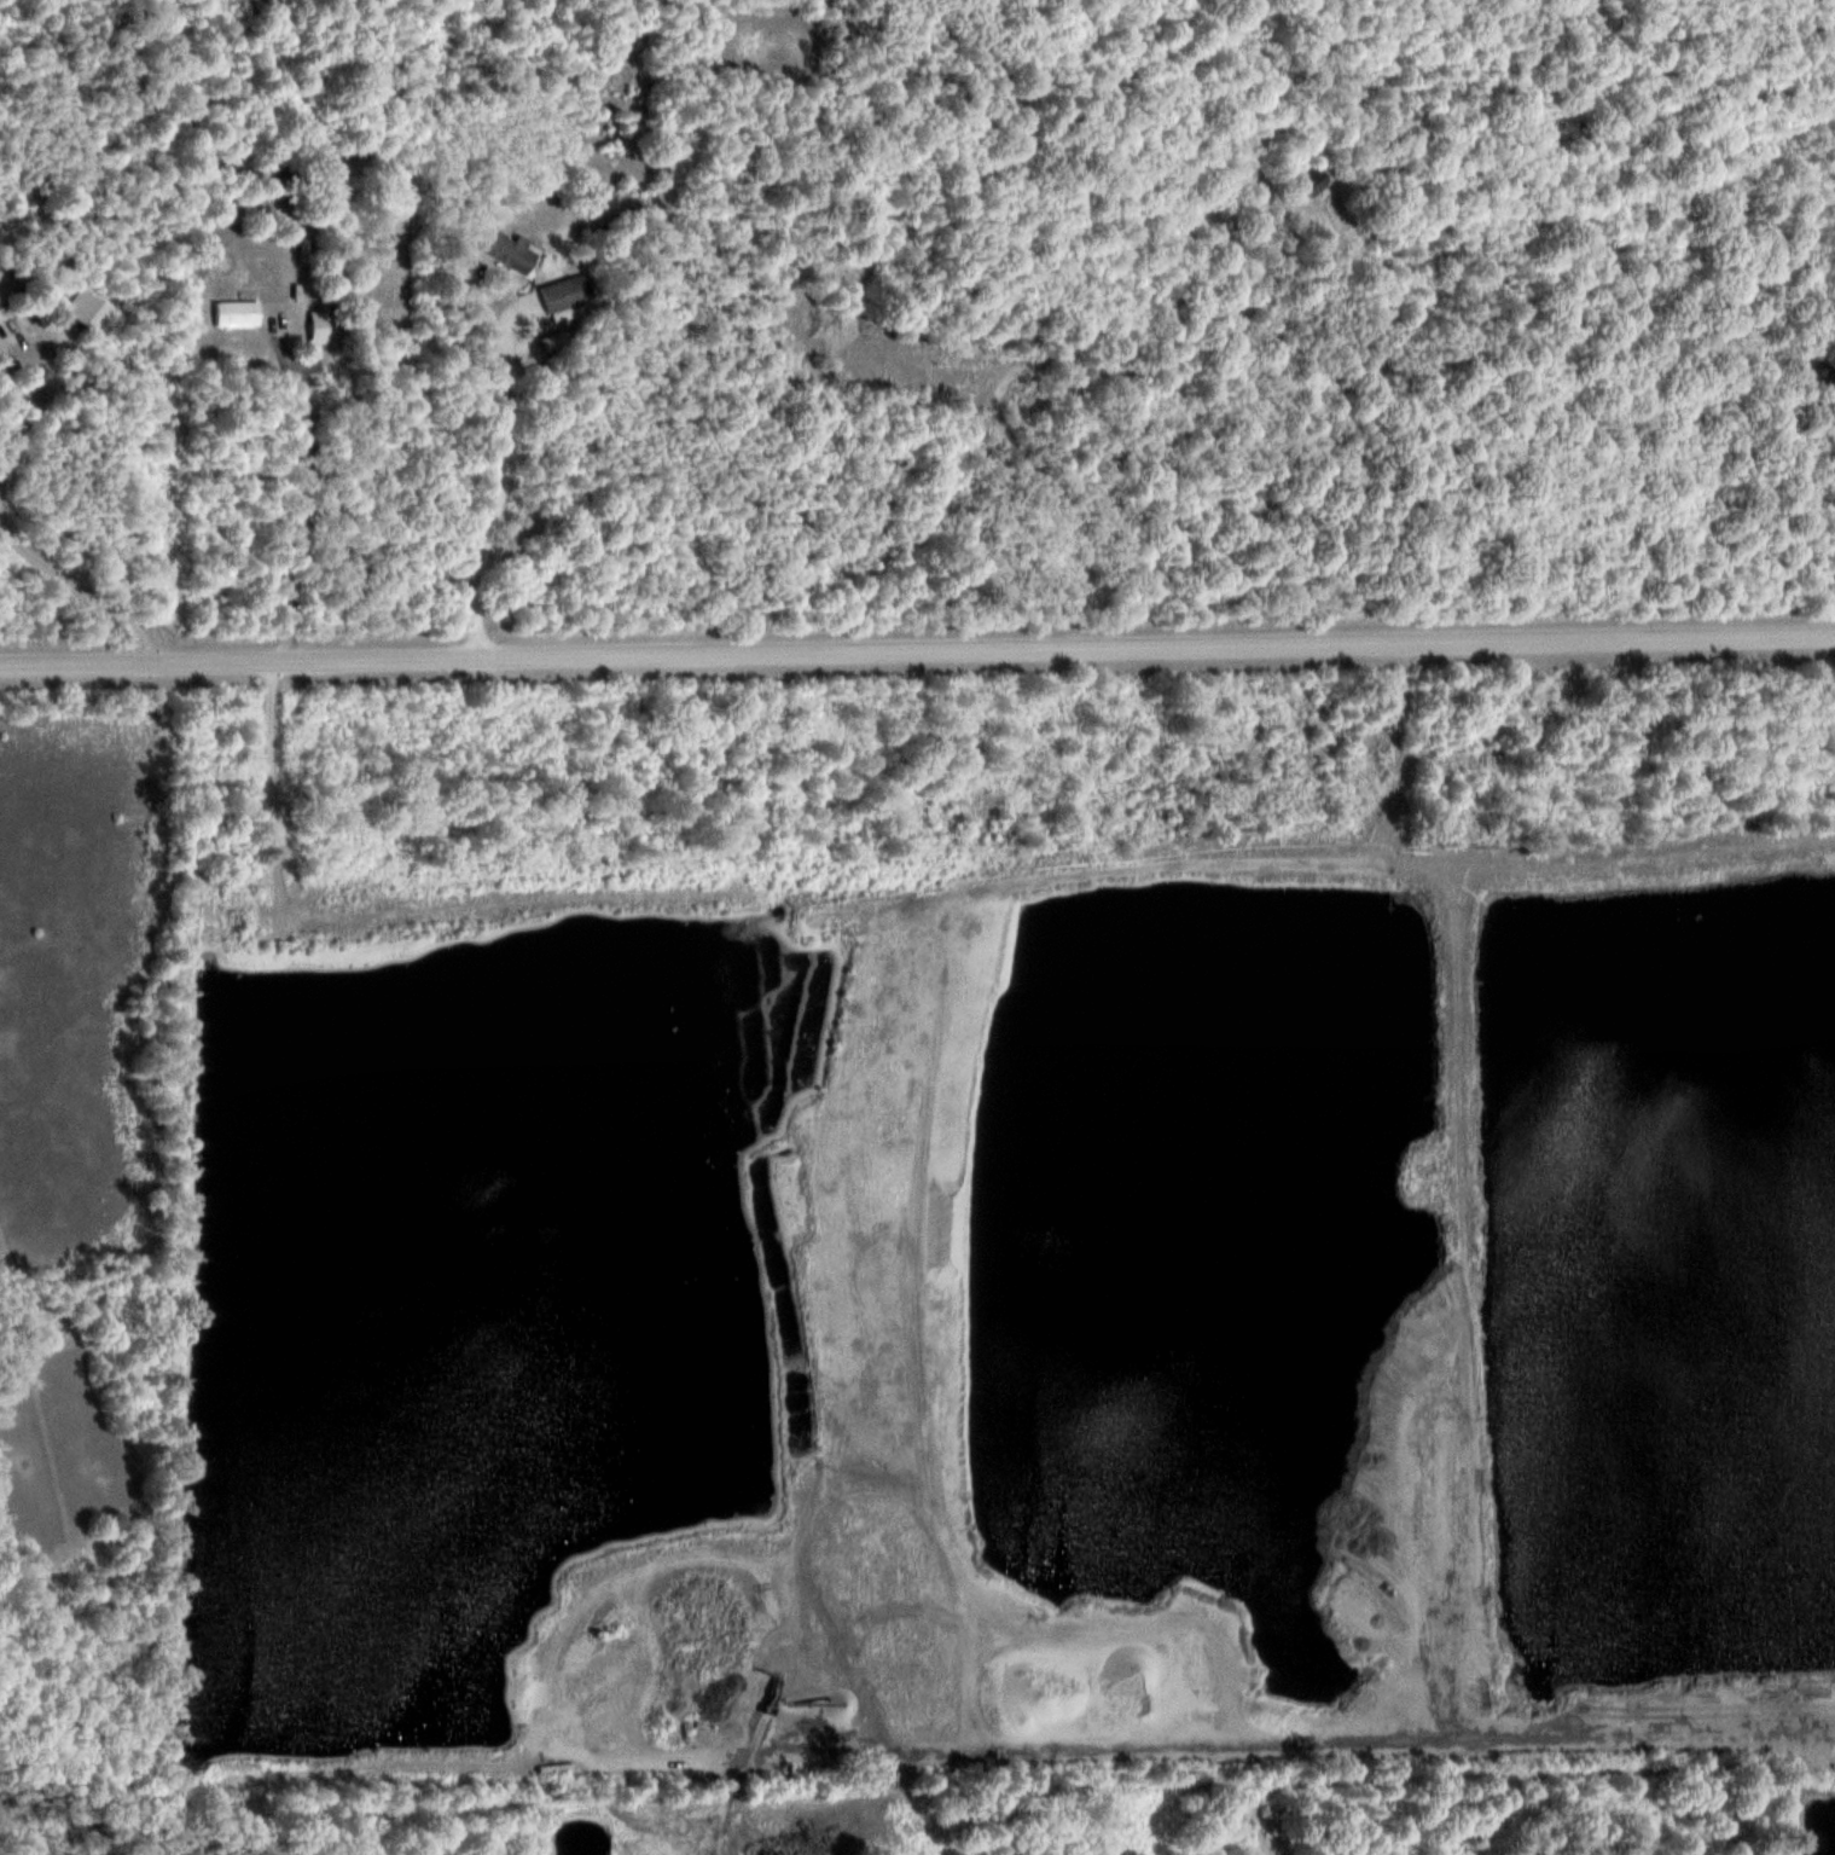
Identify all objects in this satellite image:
building: (1318, 181)
building: (513, 251)
building: (565, 300)
building: (239, 313)
road: (307, 494)
road: (501, 498)
road: (917, 648)
road: (1585, 1769)

